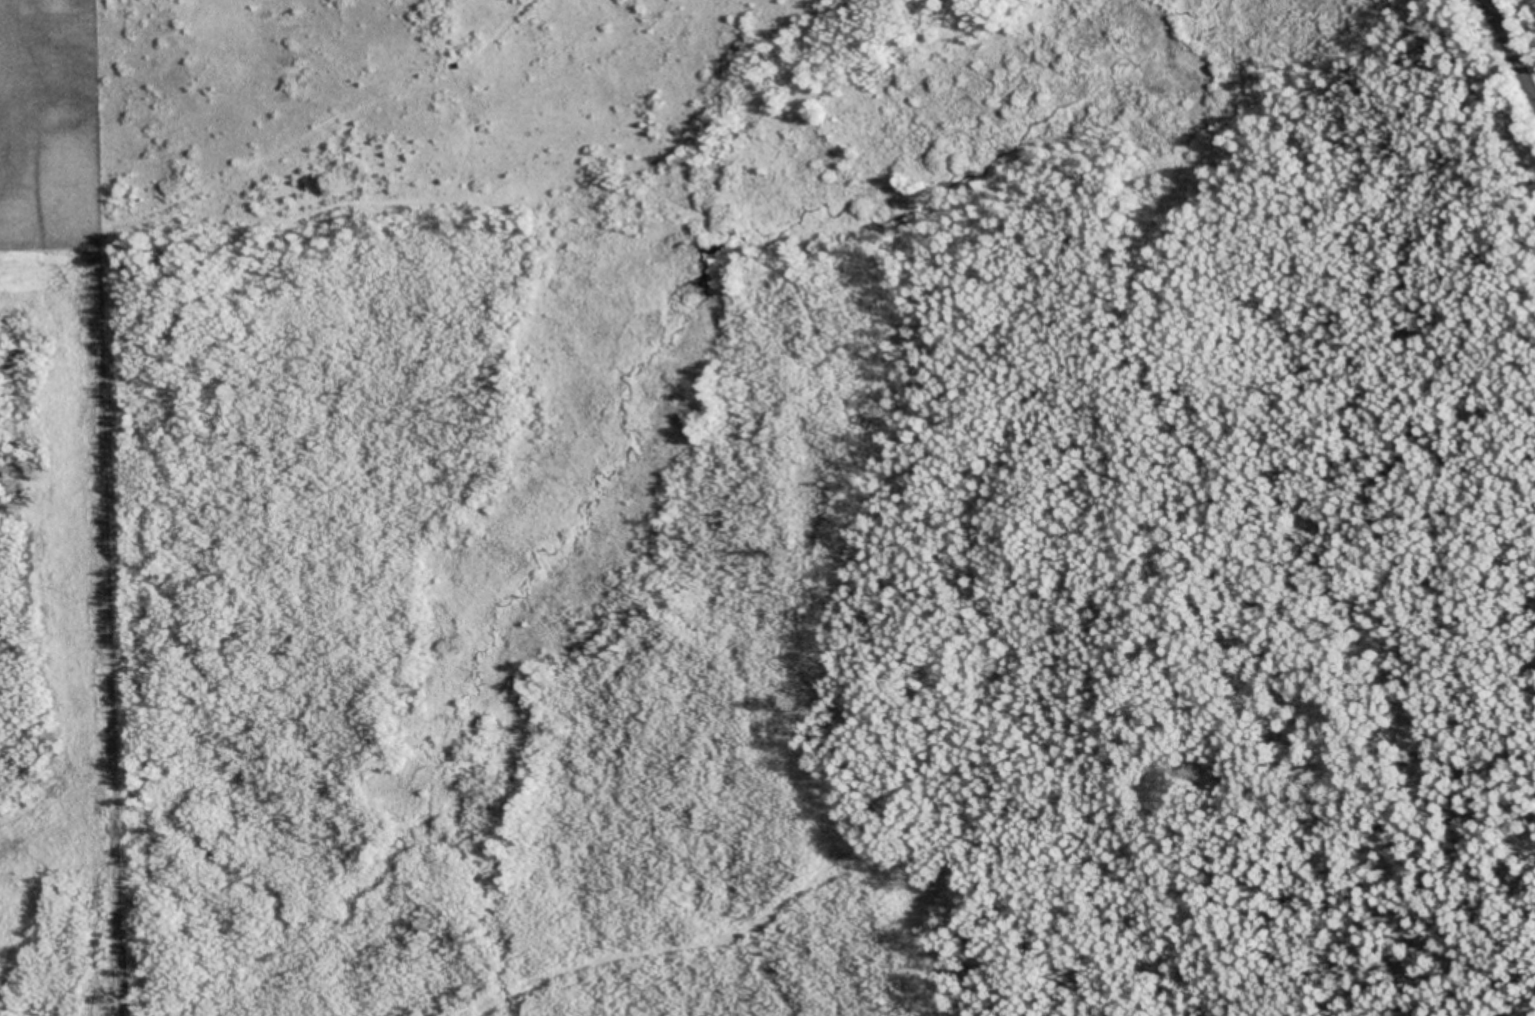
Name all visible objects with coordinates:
road: (1527, 15)

